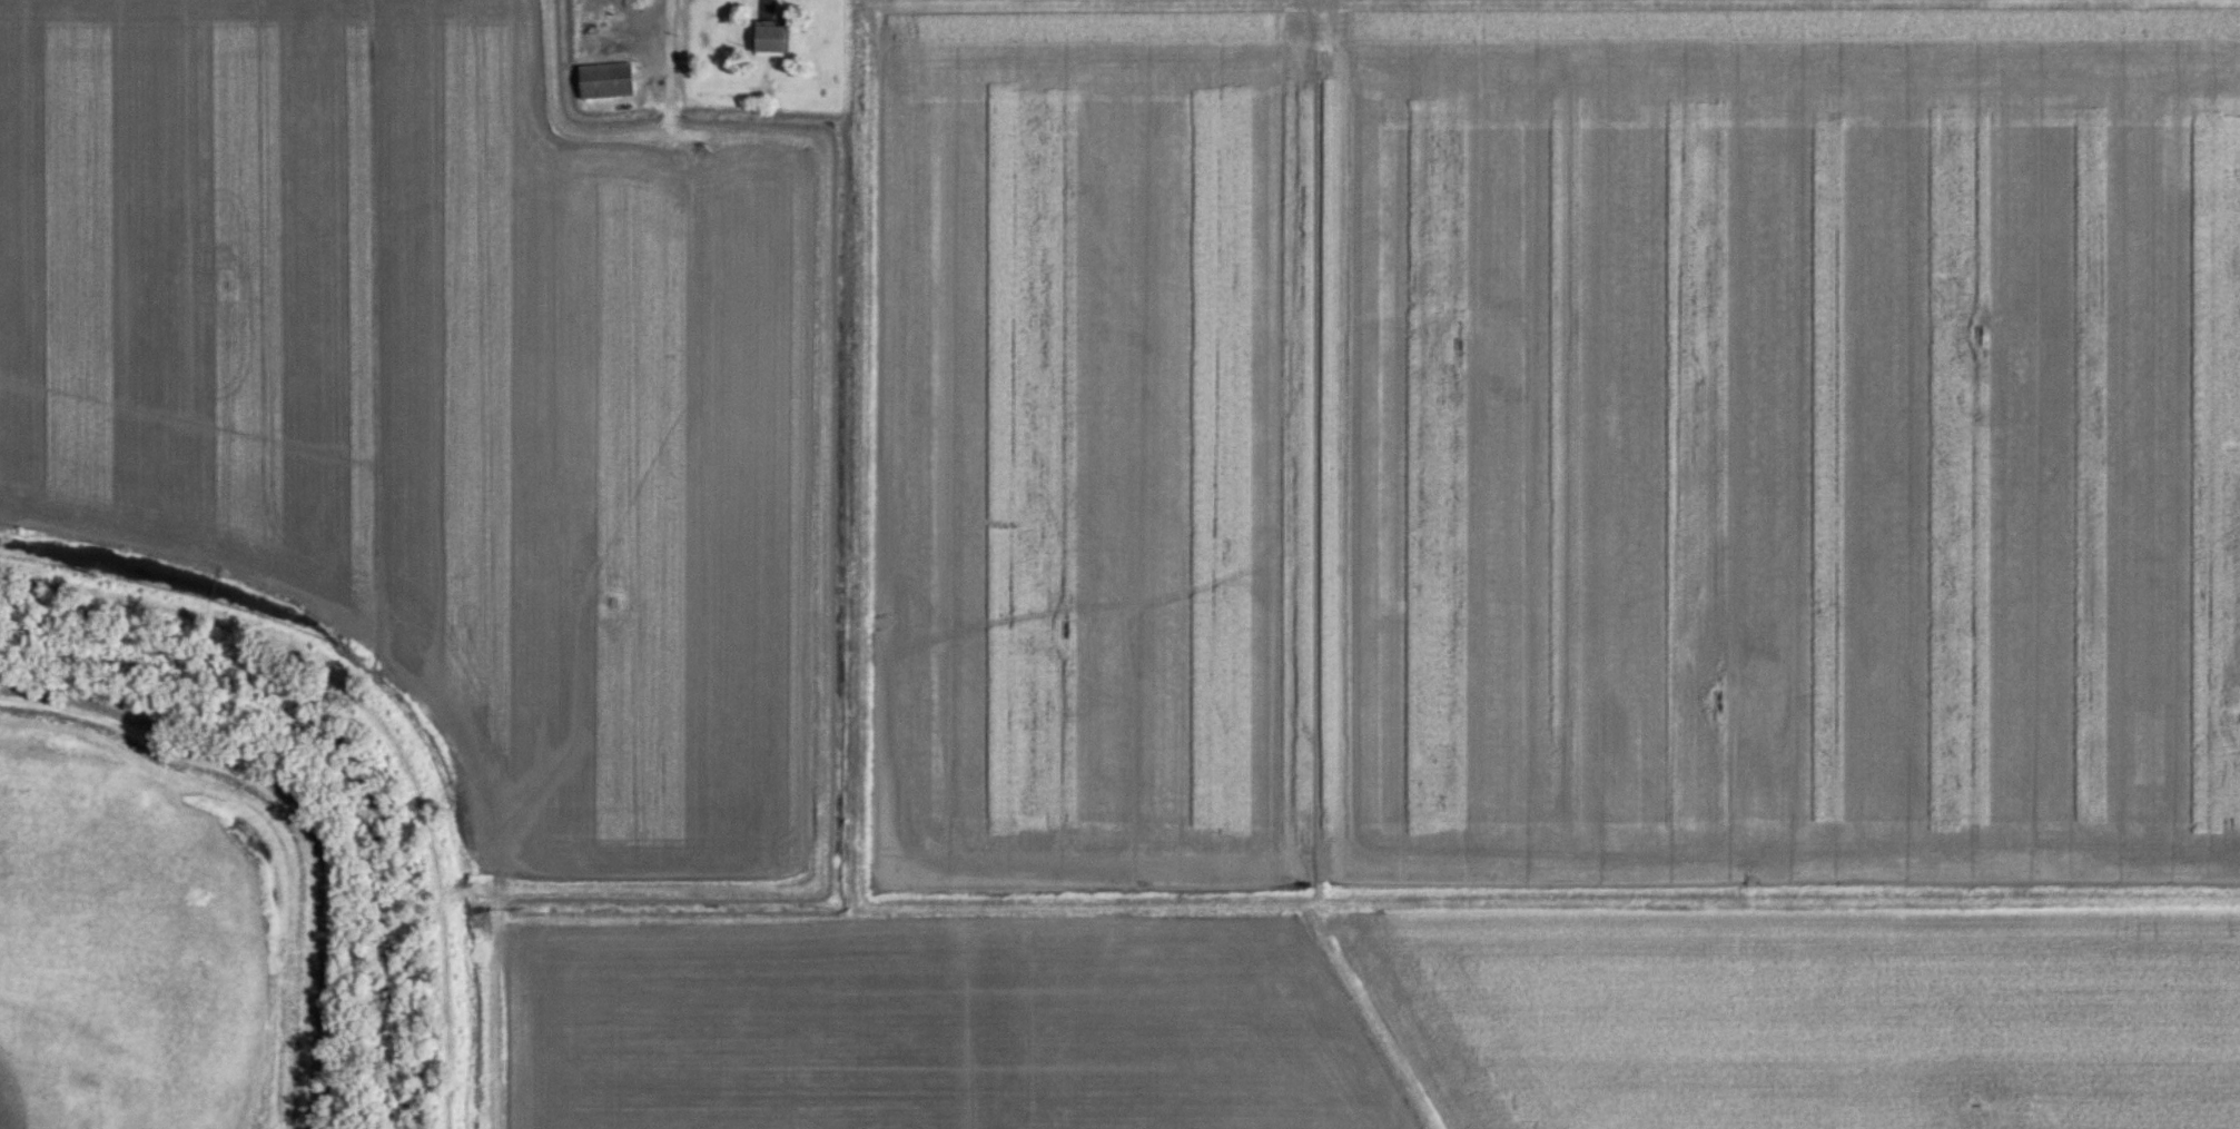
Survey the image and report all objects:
road: (667, 29)

